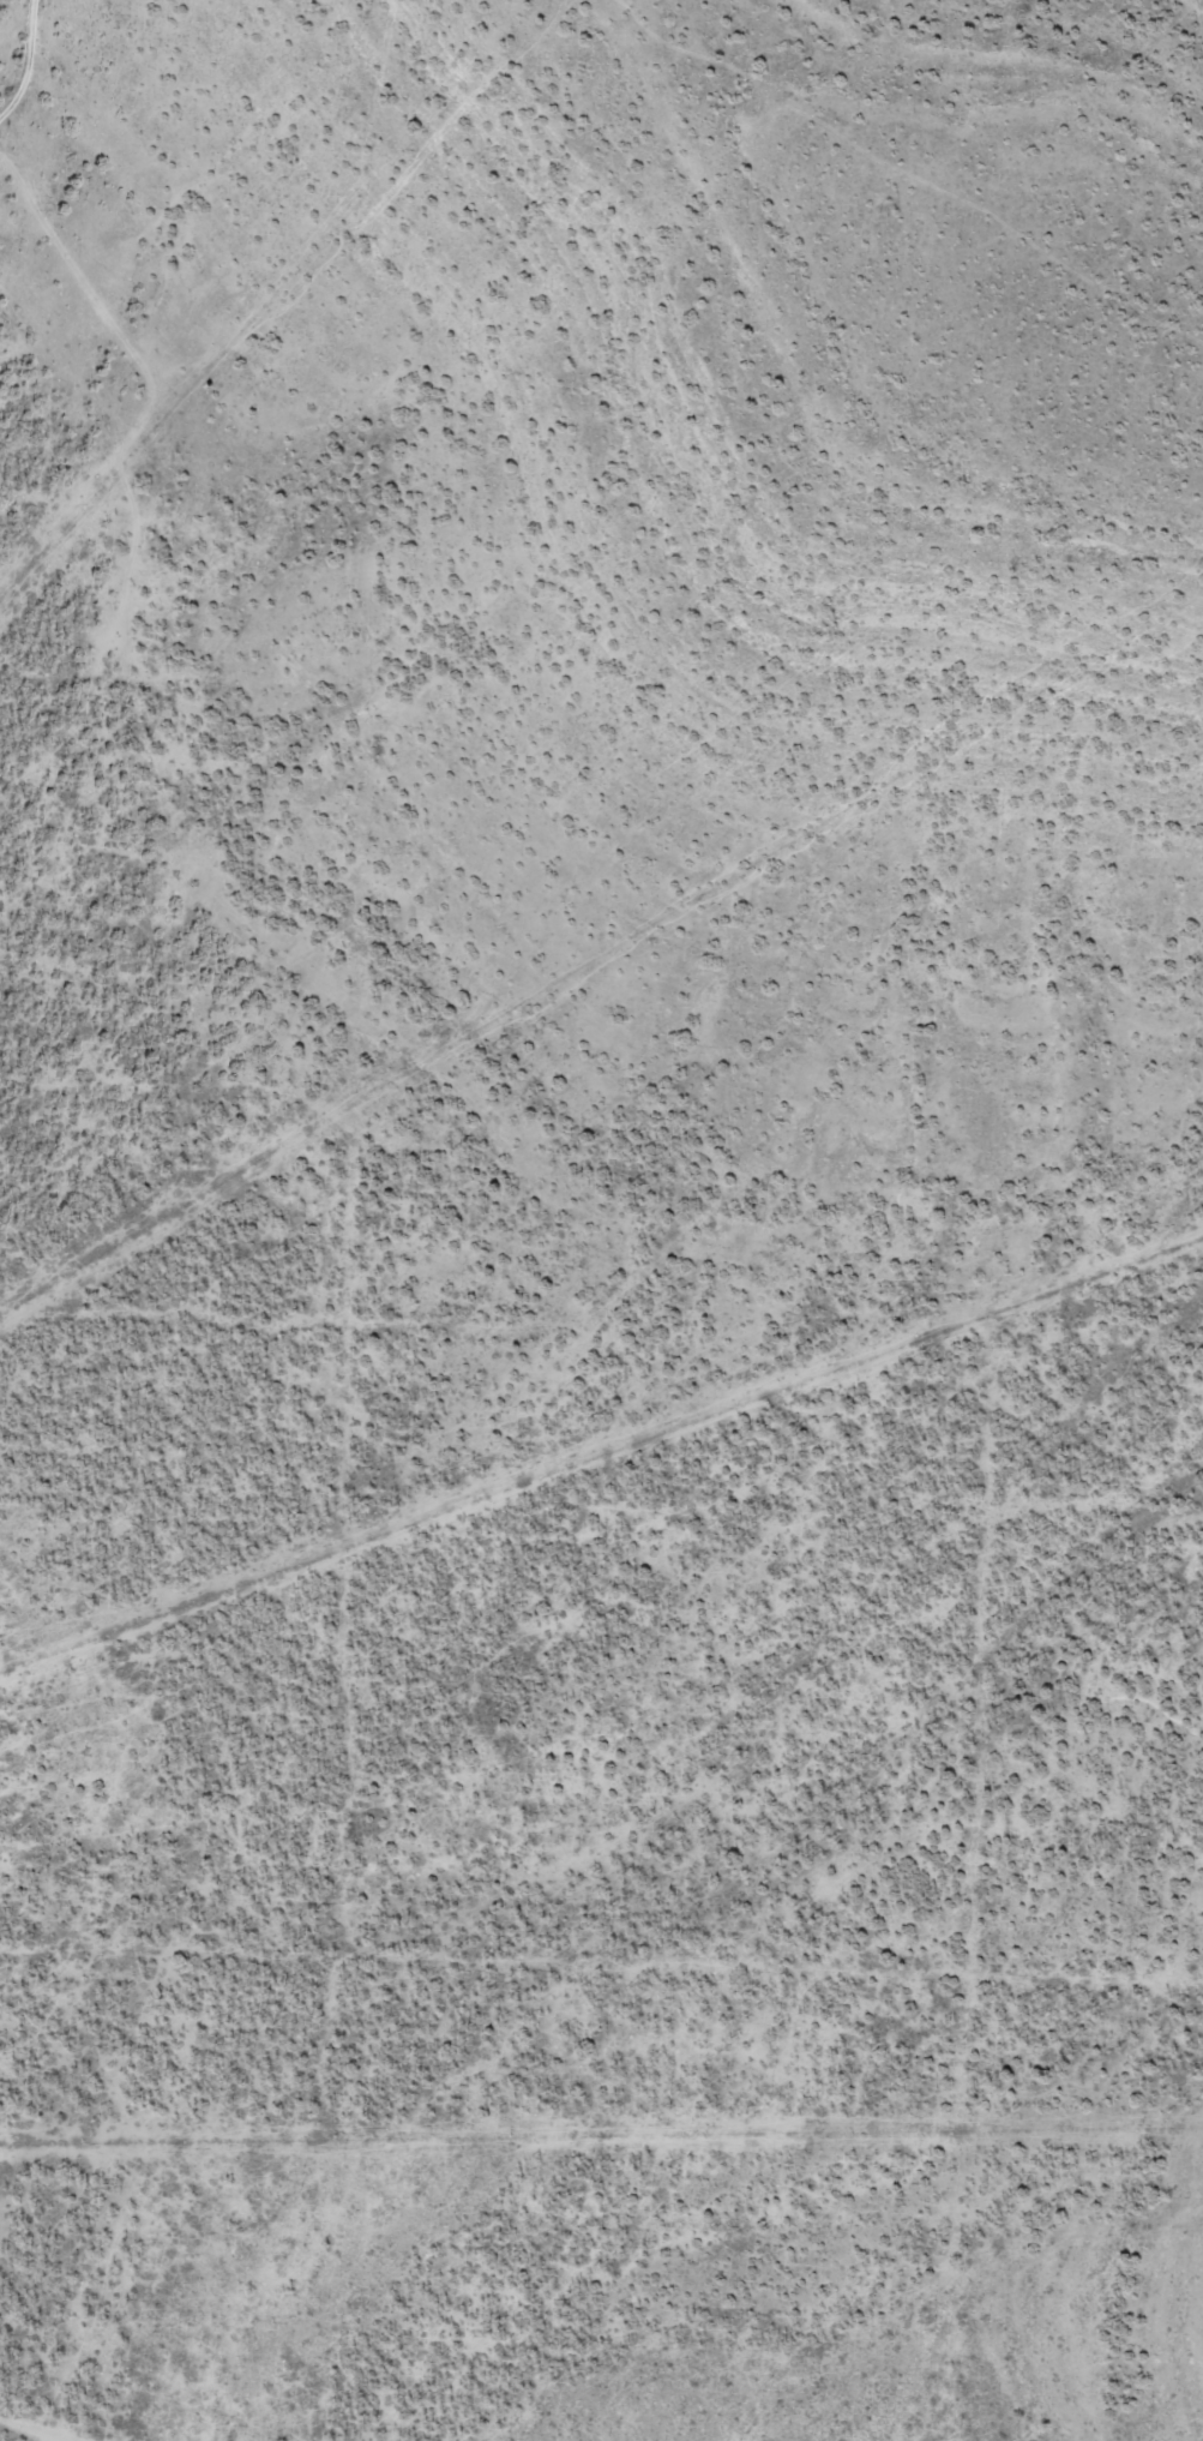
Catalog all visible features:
road: (18, 2433)

